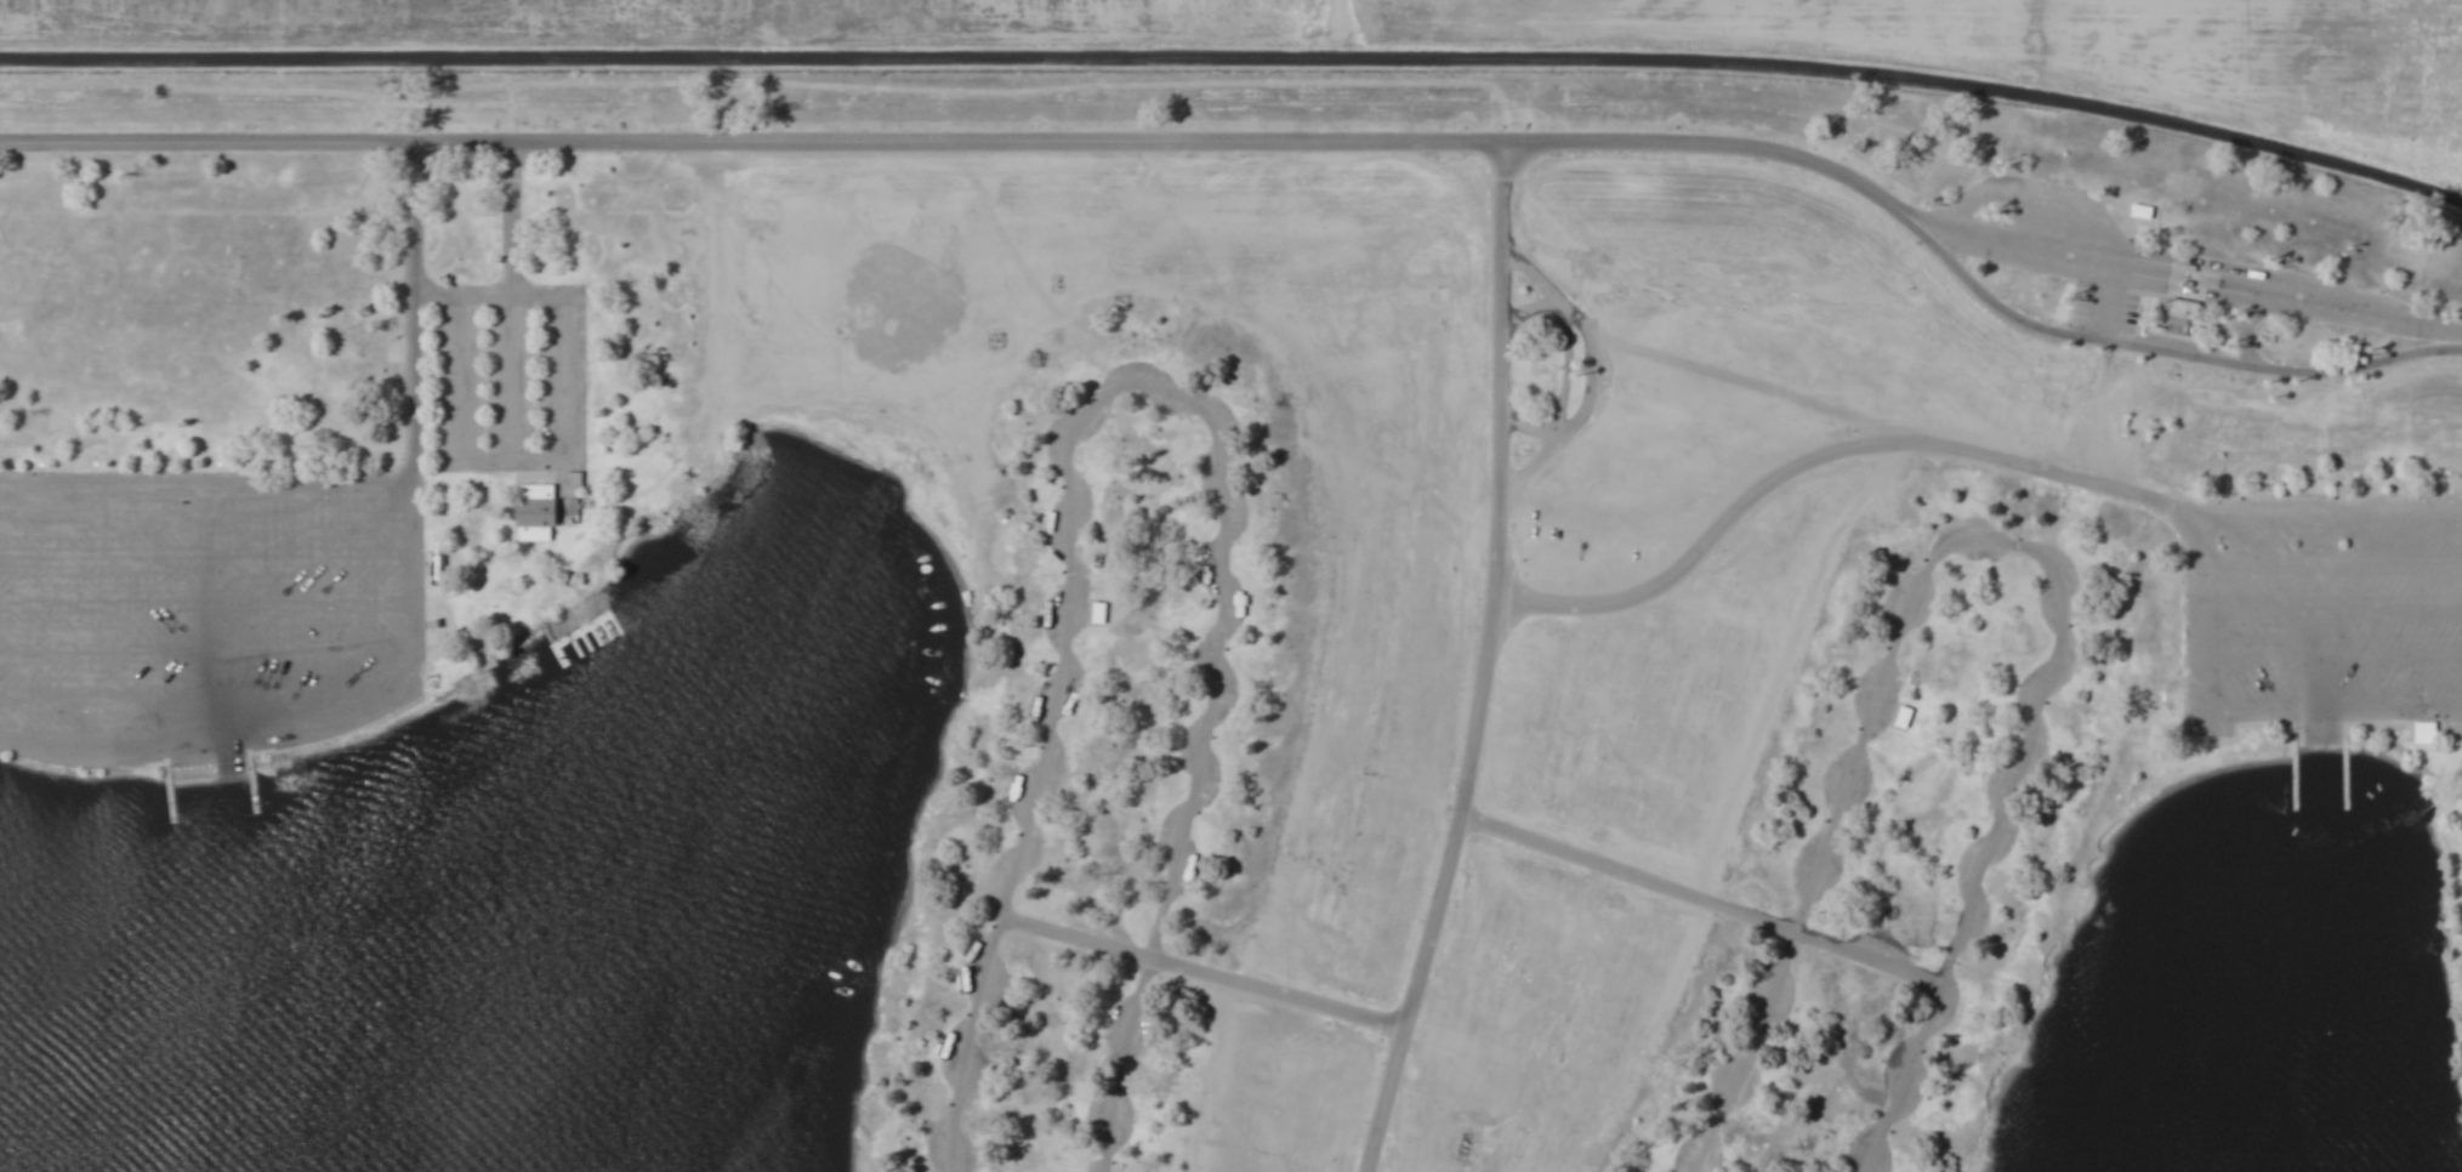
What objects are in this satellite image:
road: (1238, 56)
road: (1245, 137)
building: (2143, 214)
road: (512, 215)
road: (434, 290)
road: (512, 292)
building: (2184, 309)
road: (410, 324)
road: (2174, 338)
road: (461, 376)
road: (511, 376)
road: (564, 376)
parking lot: (505, 379)
road: (1126, 454)
road: (512, 459)
building: (545, 507)
road: (206, 510)
road: (2008, 545)
road: (205, 586)
road: (414, 597)
road: (206, 603)
parking lot: (205, 614)
building: (1098, 614)
road: (1479, 660)
road: (102, 692)
building: (1901, 717)
building: (2424, 732)
road: (1625, 877)
road: (1869, 954)
road: (1206, 980)
road: (1735, 1051)
road: (1907, 1075)

